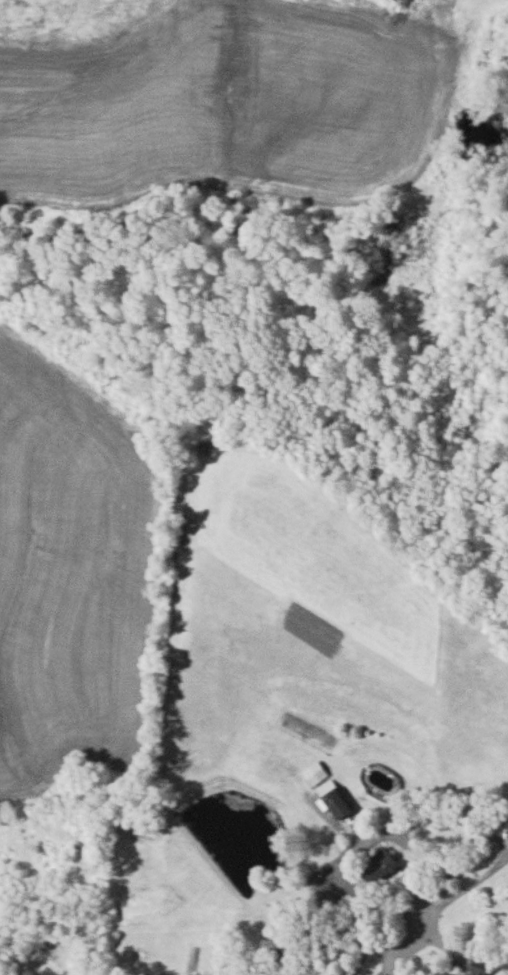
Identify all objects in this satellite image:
road: (99, 45)
building: (330, 789)
road: (419, 857)
building: (380, 865)
road: (461, 893)
road: (400, 948)
building: (477, 966)

